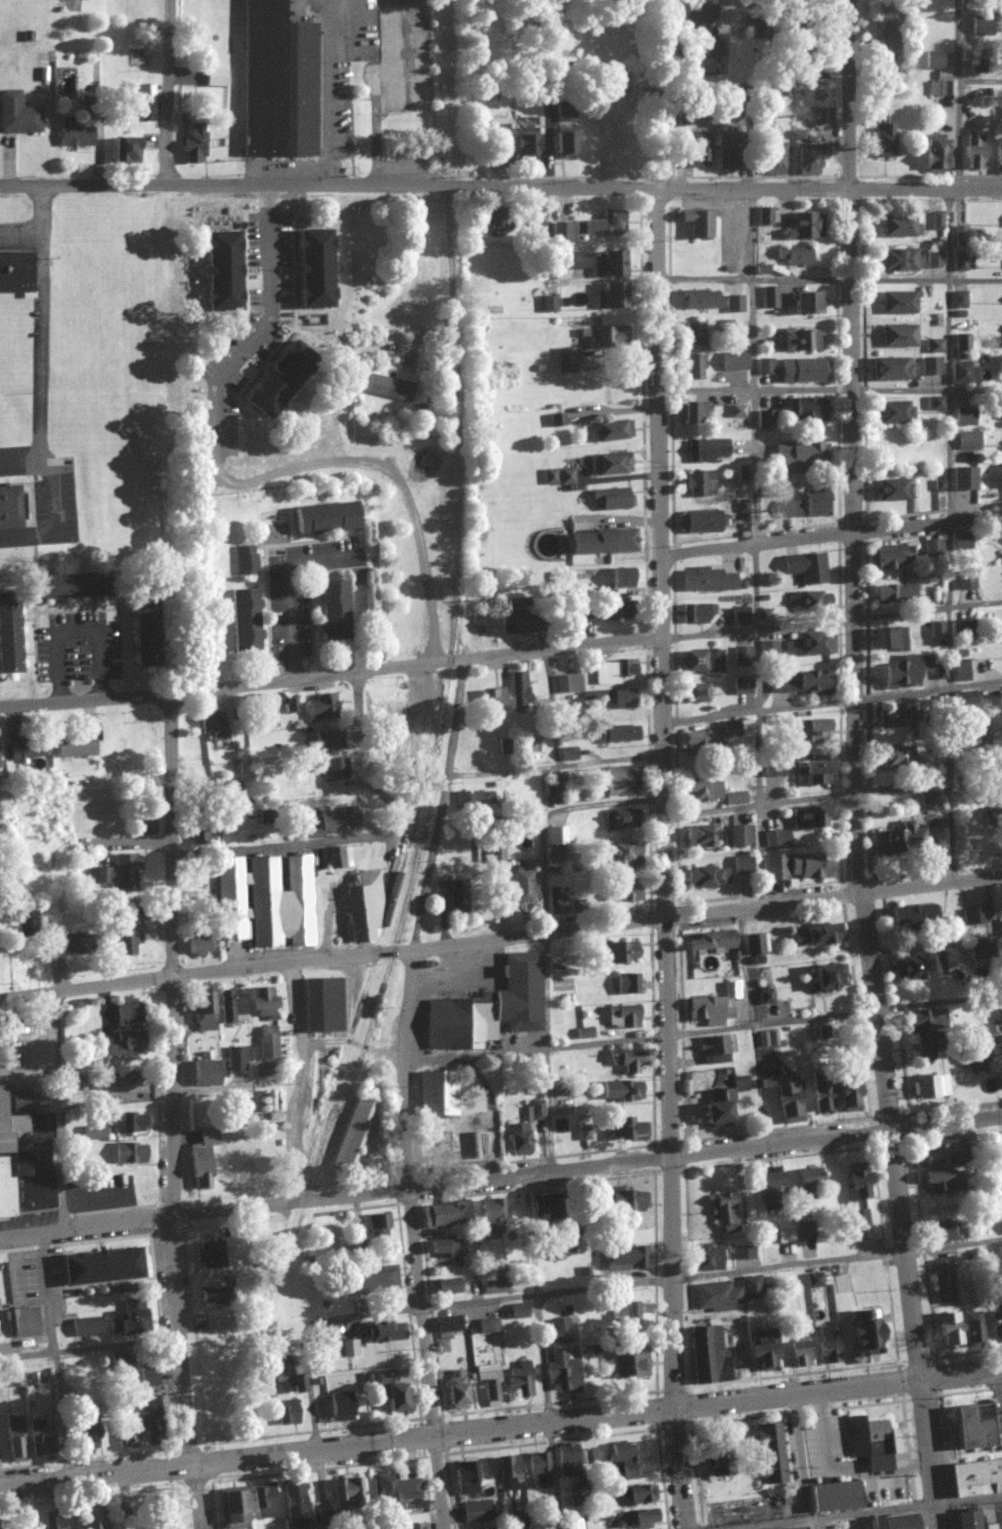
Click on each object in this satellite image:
building: (700, 13)
building: (981, 26)
building: (888, 31)
building: (715, 49)
building: (934, 60)
building: (274, 76)
building: (216, 78)
road: (980, 79)
building: (625, 85)
building: (944, 85)
road: (166, 92)
road: (332, 92)
building: (144, 95)
building: (17, 115)
building: (74, 134)
building: (501, 136)
building: (884, 137)
building: (193, 144)
building: (563, 144)
building: (528, 145)
building: (125, 150)
building: (698, 151)
building: (727, 151)
building: (974, 153)
building: (936, 154)
building: (773, 156)
building: (808, 160)
building: (998, 161)
road: (328, 185)
road: (829, 188)
building: (765, 216)
building: (485, 219)
building: (938, 221)
building: (697, 224)
building: (604, 225)
building: (804, 227)
building: (900, 227)
road: (21, 228)
building: (551, 231)
road: (748, 234)
building: (794, 256)
building: (579, 260)
building: (934, 260)
building: (900, 261)
building: (960, 263)
building: (611, 265)
building: (310, 269)
building: (219, 271)
building: (16, 272)
road: (449, 277)
road: (828, 280)
building: (611, 297)
building: (771, 298)
building: (700, 300)
building: (960, 300)
building: (808, 303)
building: (899, 303)
building: (548, 304)
building: (735, 304)
building: (694, 334)
building: (899, 336)
building: (606, 337)
road: (43, 340)
building: (801, 341)
road: (950, 342)
building: (963, 343)
building: (935, 346)
building: (566, 361)
building: (734, 362)
building: (766, 366)
building: (932, 366)
building: (692, 368)
building: (892, 369)
building: (805, 371)
building: (965, 374)
building: (277, 377)
building: (391, 388)
road: (829, 390)
building: (936, 404)
building: (809, 409)
building: (738, 411)
building: (693, 413)
building: (894, 413)
building: (1001, 416)
building: (966, 417)
building: (557, 420)
building: (764, 420)
building: (612, 431)
building: (970, 441)
building: (706, 450)
building: (800, 457)
building: (607, 465)
building: (742, 474)
building: (559, 477)
building: (965, 479)
building: (1001, 479)
road: (246, 483)
building: (701, 483)
building: (893, 490)
building: (612, 499)
building: (807, 506)
building: (10, 507)
building: (326, 519)
building: (700, 522)
railway: (459, 530)
road: (830, 536)
building: (601, 543)
building: (959, 543)
building: (904, 554)
building: (246, 560)
building: (808, 568)
building: (620, 579)
building: (708, 580)
building: (966, 581)
building: (64, 588)
road: (289, 592)
building: (896, 594)
building: (809, 602)
building: (613, 609)
building: (330, 612)
building: (577, 612)
building: (698, 614)
building: (740, 617)
building: (510, 618)
building: (243, 621)
road: (830, 621)
building: (965, 628)
building: (938, 630)
building: (141, 633)
building: (889, 639)
building: (8, 640)
building: (813, 645)
road: (757, 647)
building: (770, 649)
building: (743, 656)
building: (700, 662)
building: (961, 671)
building: (613, 672)
building: (906, 672)
building: (941, 673)
road: (329, 675)
building: (800, 683)
building: (570, 684)
building: (743, 687)
building: (518, 692)
building: (694, 694)
building: (615, 698)
building: (963, 698)
building: (492, 699)
road: (833, 702)
road: (552, 708)
building: (321, 709)
building: (894, 715)
building: (392, 722)
building: (983, 724)
building: (214, 726)
building: (814, 732)
building: (618, 734)
building: (713, 737)
building: (329, 743)
building: (75, 746)
building: (20, 752)
building: (568, 754)
building: (897, 755)
building: (813, 763)
road: (856, 766)
building: (775, 767)
building: (333, 770)
building: (812, 776)
building: (204, 780)
building: (621, 780)
building: (555, 785)
building: (705, 791)
building: (735, 797)
building: (468, 799)
building: (930, 800)
road: (604, 804)
road: (760, 806)
building: (810, 817)
building: (620, 818)
building: (338, 819)
building: (141, 823)
building: (701, 835)
building: (740, 835)
building: (778, 838)
building: (902, 838)
road: (369, 839)
building: (624, 855)
building: (337, 856)
road: (666, 858)
building: (743, 865)
building: (798, 865)
building: (119, 874)
building: (707, 877)
building: (524, 887)
building: (452, 893)
building: (623, 893)
road: (834, 896)
building: (265, 901)
building: (557, 902)
building: (362, 906)
road: (547, 913)
building: (915, 914)
building: (23, 921)
building: (999, 926)
building: (127, 931)
building: (822, 934)
building: (73, 939)
building: (198, 941)
building: (711, 941)
building: (755, 943)
building: (617, 951)
road: (334, 957)
building: (919, 966)
building: (828, 977)
building: (625, 983)
building: (731, 989)
building: (765, 996)
building: (263, 1001)
building: (321, 1004)
building: (231, 1005)
building: (488, 1008)
building: (203, 1010)
building: (708, 1011)
building: (128, 1013)
railway: (356, 1013)
building: (622, 1015)
railway: (372, 1017)
road: (749, 1027)
building: (924, 1029)
road: (703, 1032)
building: (583, 1033)
building: (980, 1033)
building: (768, 1038)
building: (268, 1042)
building: (123, 1043)
building: (714, 1050)
building: (237, 1058)
building: (627, 1060)
building: (977, 1063)
building: (203, 1073)
building: (931, 1086)
building: (619, 1090)
road: (405, 1092)
building: (436, 1093)
building: (843, 1093)
building: (820, 1095)
road: (115, 1096)
building: (23, 1100)
road: (56, 1100)
building: (787, 1100)
building: (720, 1102)
building: (534, 1110)
road: (173, 1113)
building: (129, 1123)
building: (624, 1128)
building: (352, 1131)
building: (94, 1132)
road: (836, 1136)
building: (517, 1139)
building: (999, 1148)
building: (130, 1152)
building: (938, 1156)
building: (201, 1158)
building: (24, 1162)
building: (997, 1171)
building: (936, 1181)
building: (808, 1184)
building: (768, 1186)
building: (856, 1195)
road: (335, 1197)
building: (627, 1200)
building: (542, 1205)
building: (725, 1212)
building: (442, 1214)
building: (490, 1219)
building: (376, 1226)
building: (805, 1230)
building: (943, 1232)
building: (786, 1236)
building: (443, 1247)
building: (744, 1252)
building: (1000, 1253)
building: (209, 1254)
building: (623, 1257)
building: (706, 1258)
building: (97, 1266)
building: (381, 1277)
building: (814, 1280)
building: (943, 1281)
building: (493, 1285)
building: (443, 1286)
building: (752, 1287)
road: (552, 1293)
building: (718, 1296)
building: (513, 1312)
building: (624, 1312)
building: (994, 1319)
building: (25, 1322)
building: (446, 1324)
building: (487, 1326)
building: (85, 1327)
building: (115, 1327)
building: (971, 1328)
building: (948, 1329)
building: (382, 1331)
building: (560, 1331)
building: (826, 1346)
road: (88, 1347)
building: (344, 1348)
road: (543, 1353)
building: (801, 1353)
building: (707, 1355)
road: (55, 1356)
building: (120, 1365)
building: (627, 1365)
building: (561, 1371)
building: (286, 1375)
building: (148, 1378)
building: (15, 1379)
building: (519, 1380)
building: (487, 1384)
road: (838, 1388)
building: (387, 1389)
building: (455, 1391)
road: (791, 1398)
building: (340, 1406)
railway: (220, 1412)
building: (150, 1419)
building: (975, 1426)
building: (128, 1428)
building: (83, 1436)
building: (37, 1438)
building: (14, 1440)
building: (872, 1442)
road: (337, 1447)
building: (626, 1452)
building: (770, 1453)
building: (589, 1457)
building: (566, 1458)
building: (507, 1469)
building: (632, 1469)
building: (537, 1471)
building: (974, 1478)
building: (464, 1479)
building: (346, 1493)
building: (399, 1493)
building: (634, 1495)
building: (833, 1496)
building: (263, 1501)
building: (293, 1505)
road: (859, 1509)
building: (231, 1510)
building: (475, 1511)
building: (92, 1518)
building: (633, 1519)
building: (969, 1520)
building: (53, 1521)
building: (890, 1522)
building: (519, 1525)
building: (407, 1526)
building: (487, 1528)

